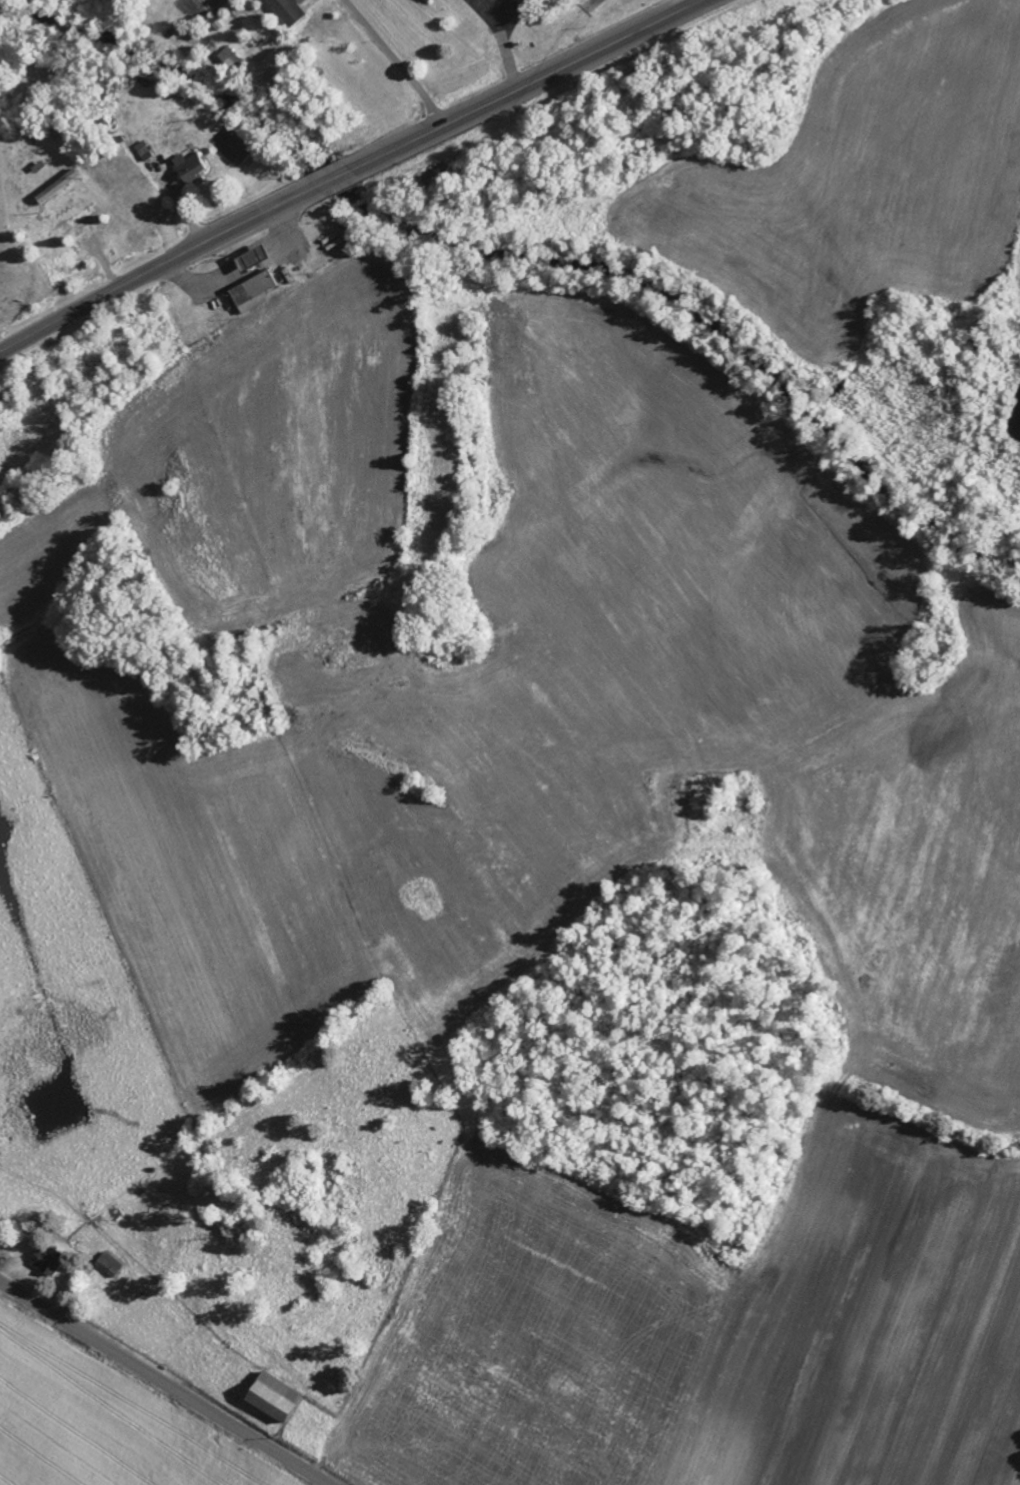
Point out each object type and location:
building: (430, 0)
road: (702, 0)
building: (290, 11)
building: (231, 58)
road: (398, 61)
road: (528, 85)
building: (195, 167)
road: (335, 178)
building: (75, 261)
road: (157, 267)
building: (257, 293)
building: (50, 1263)
building: (111, 1265)
road: (163, 1383)
building: (277, 1397)

